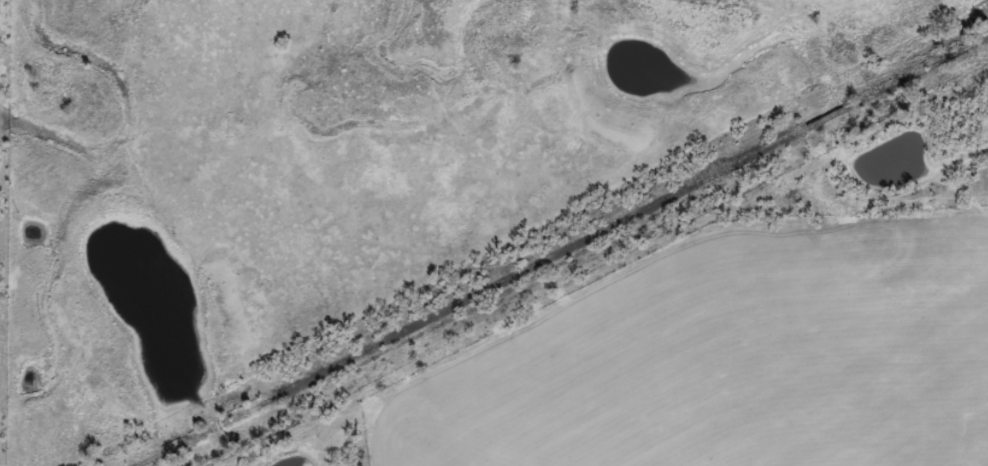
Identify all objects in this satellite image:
railway: (565, 252)

